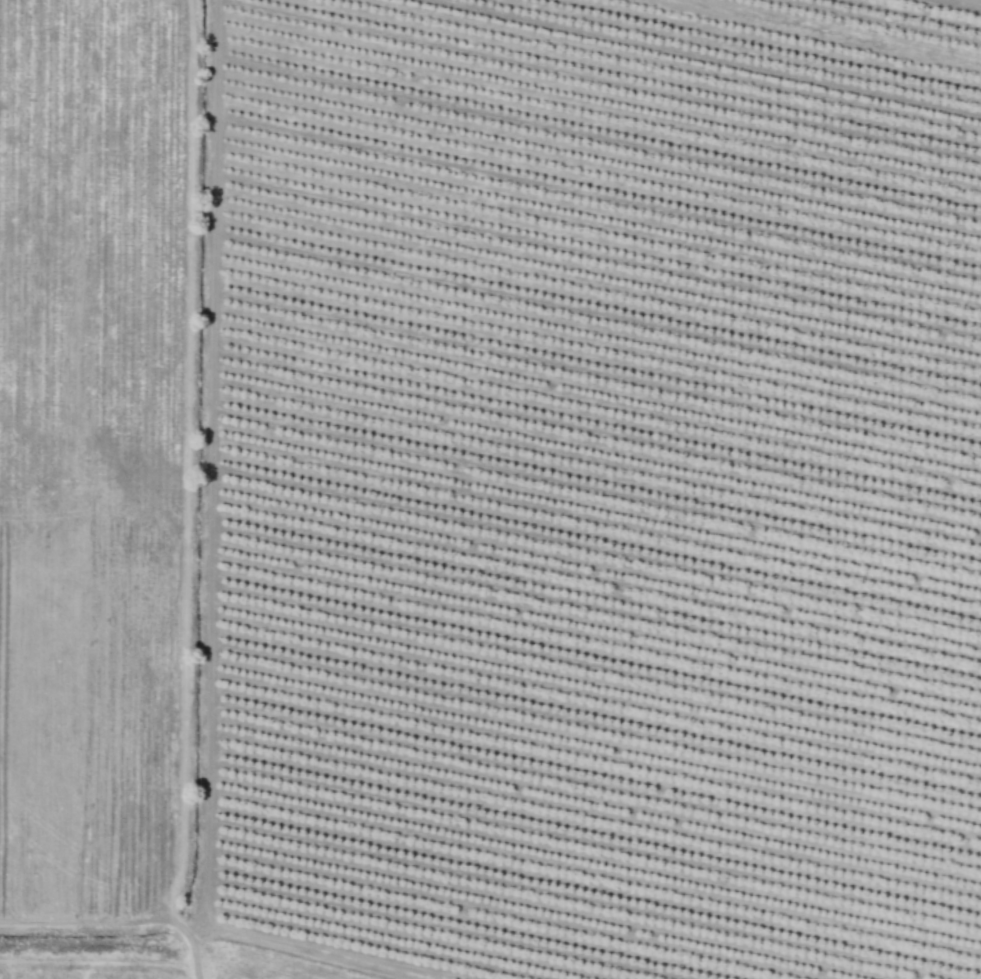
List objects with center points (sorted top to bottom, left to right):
road: (976, 0)

